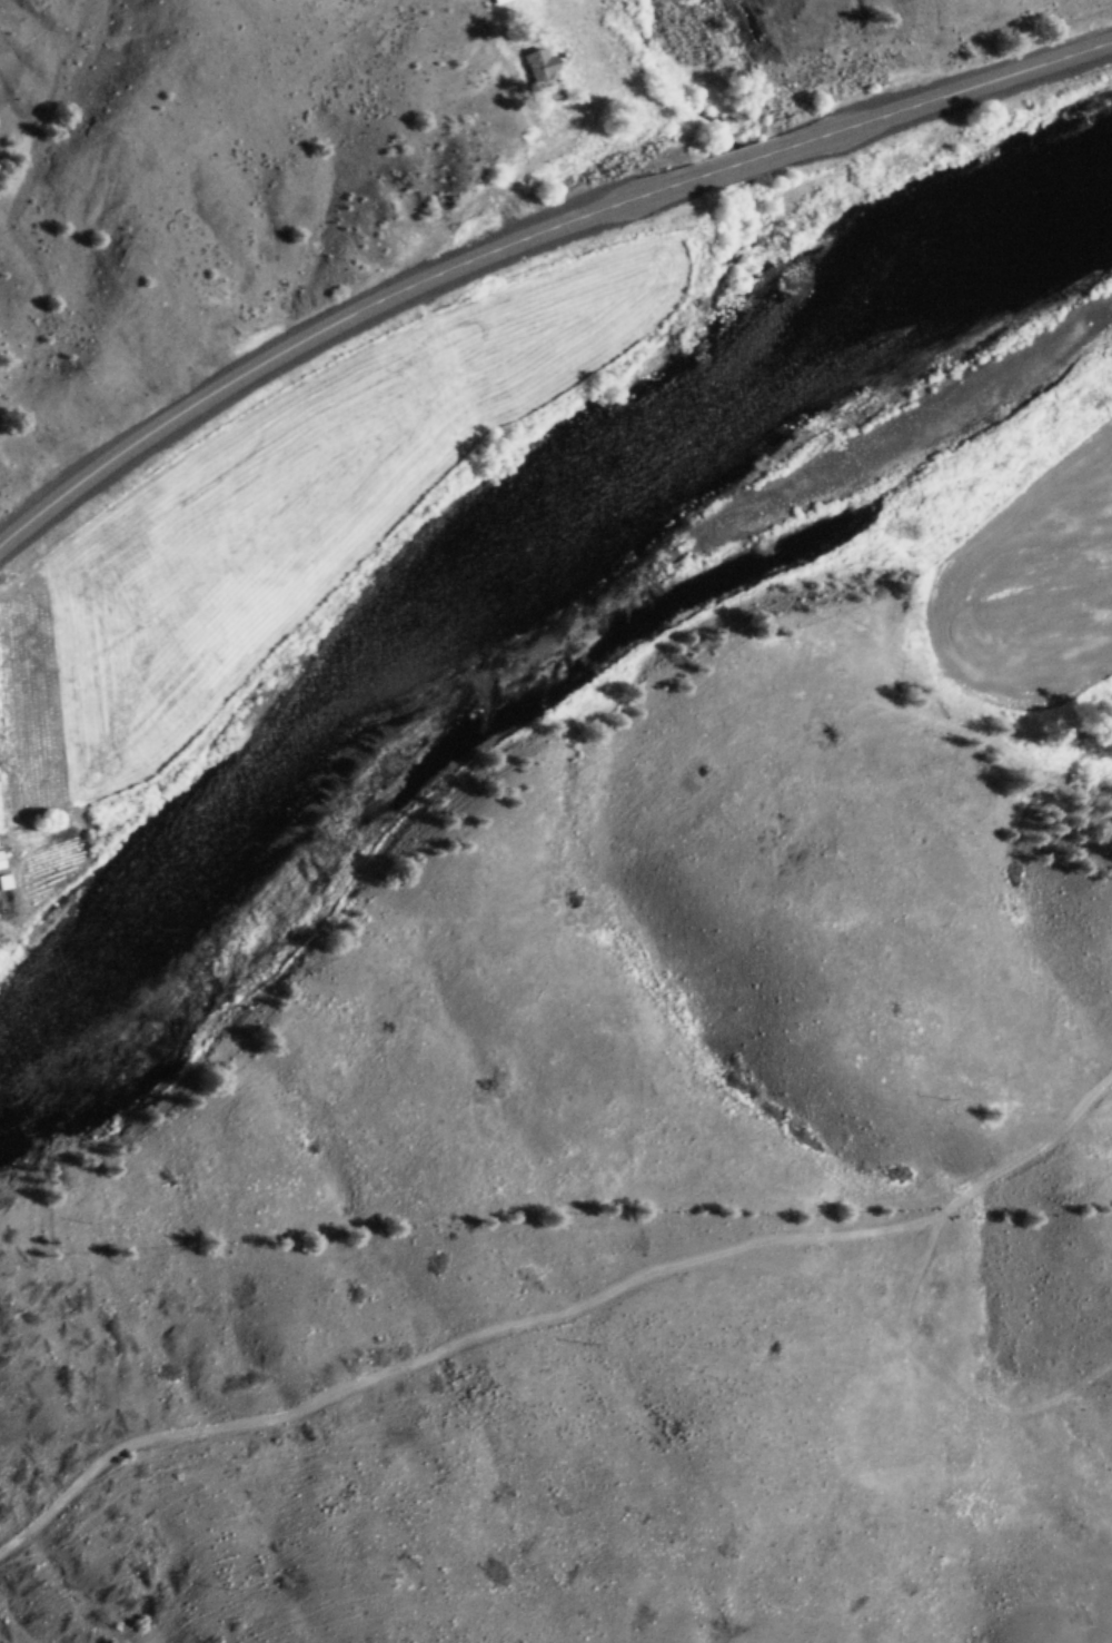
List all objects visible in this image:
road: (527, 246)
river: (540, 612)
building: (2, 882)

